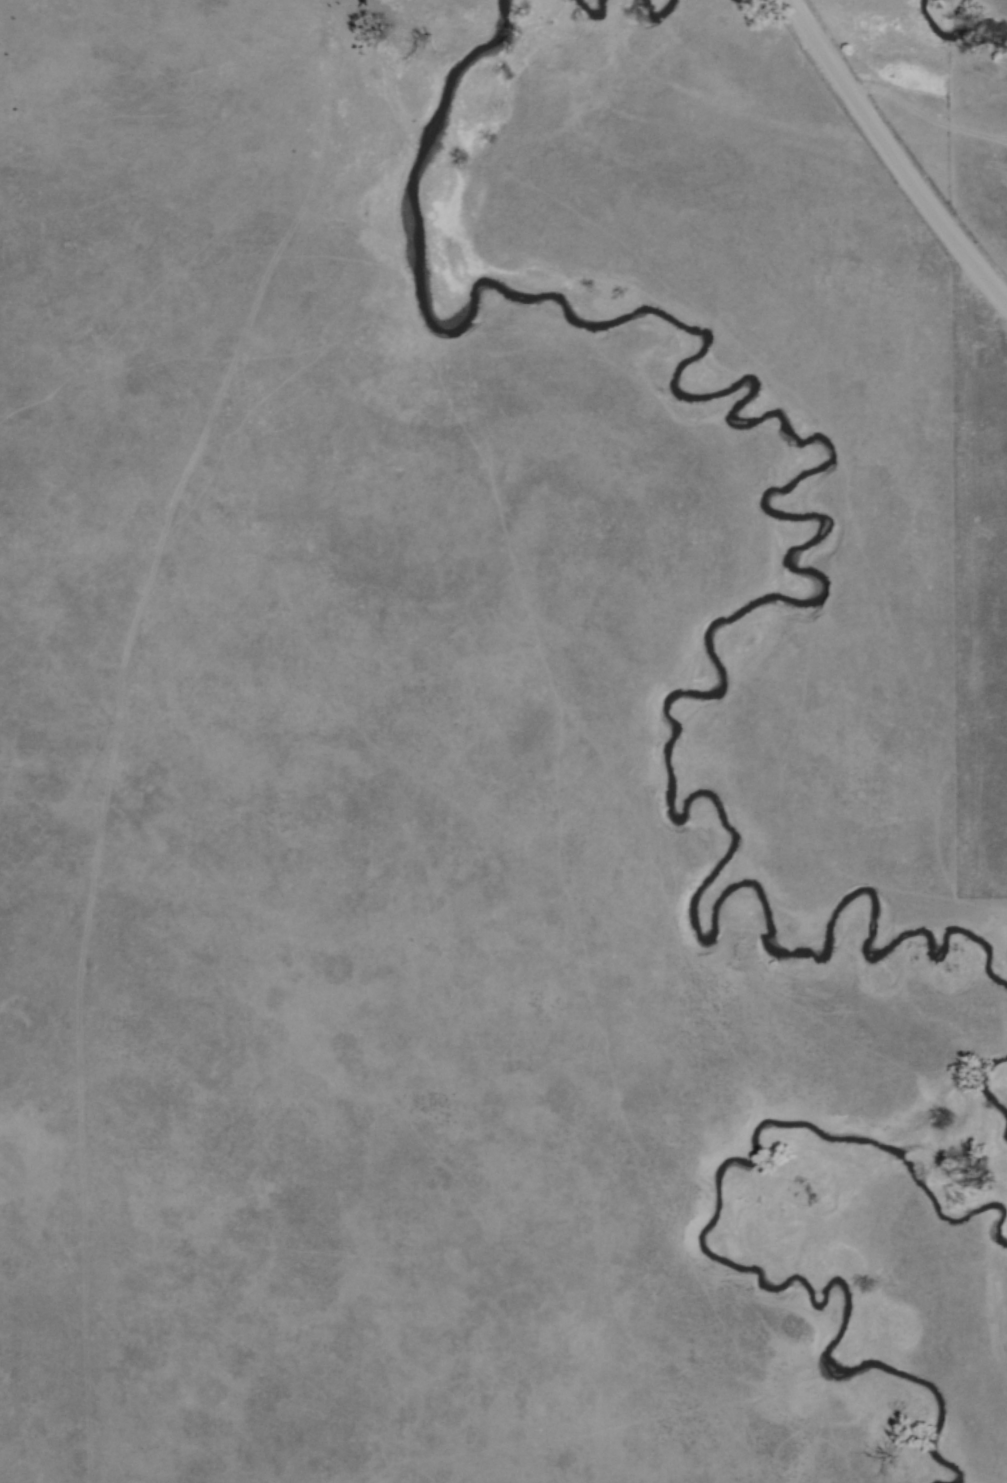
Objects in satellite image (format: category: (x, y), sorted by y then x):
road: (883, 164)

